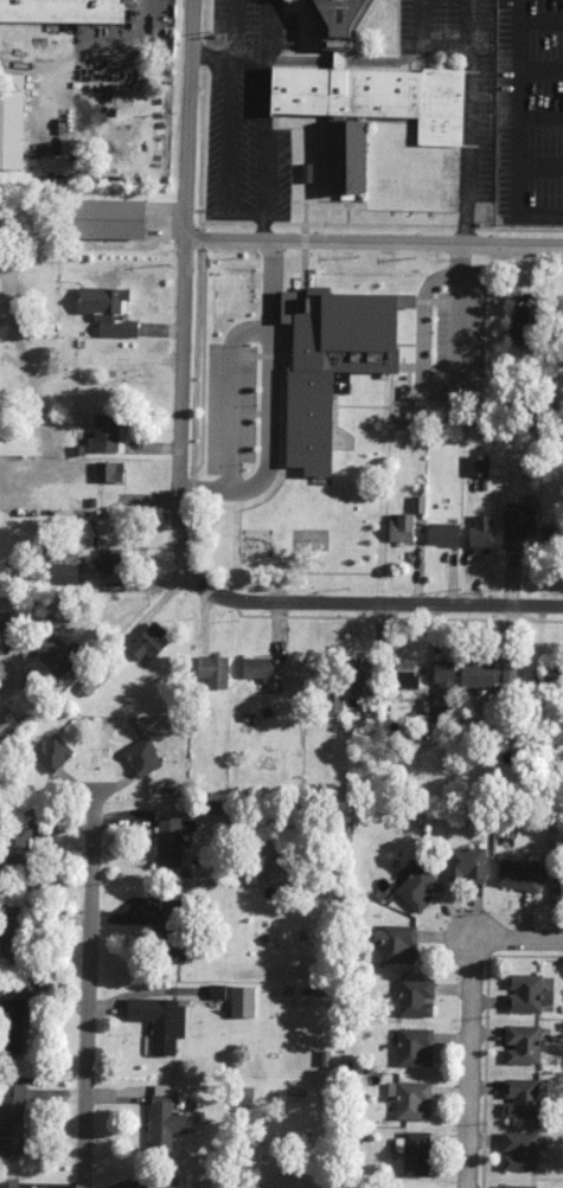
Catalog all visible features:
building: (62, 11)
building: (339, 21)
road: (263, 27)
road: (226, 56)
building: (373, 96)
building: (11, 121)
road: (471, 121)
building: (347, 154)
building: (307, 173)
road: (230, 200)
building: (109, 218)
road: (261, 227)
road: (373, 243)
road: (184, 287)
building: (108, 310)
building: (525, 320)
building: (331, 362)
building: (107, 434)
building: (478, 464)
building: (109, 471)
building: (418, 505)
building: (518, 522)
building: (401, 528)
building: (480, 531)
building: (443, 534)
building: (551, 537)
building: (109, 560)
building: (31, 570)
building: (64, 573)
road: (370, 602)
building: (60, 610)
building: (5, 627)
building: (149, 642)
building: (51, 655)
building: (213, 670)
road: (11, 672)
building: (265, 672)
building: (508, 672)
building: (405, 673)
building: (478, 674)
building: (360, 675)
building: (444, 675)
building: (4, 727)
building: (52, 752)
building: (142, 757)
building: (168, 841)
building: (17, 843)
building: (467, 865)
building: (280, 871)
building: (519, 875)
building: (418, 888)
building: (557, 888)
building: (173, 926)
building: (12, 935)
road: (518, 937)
building: (395, 943)
road: (90, 983)
building: (217, 991)
building: (526, 994)
building: (416, 996)
building: (243, 1001)
building: (160, 1021)
building: (12, 1023)
building: (523, 1043)
building: (414, 1046)
road: (471, 1062)
building: (522, 1097)
building: (410, 1099)
building: (165, 1118)
building: (12, 1119)
building: (519, 1150)
building: (416, 1154)
building: (162, 1182)
building: (8, 1183)
building: (518, 1186)

